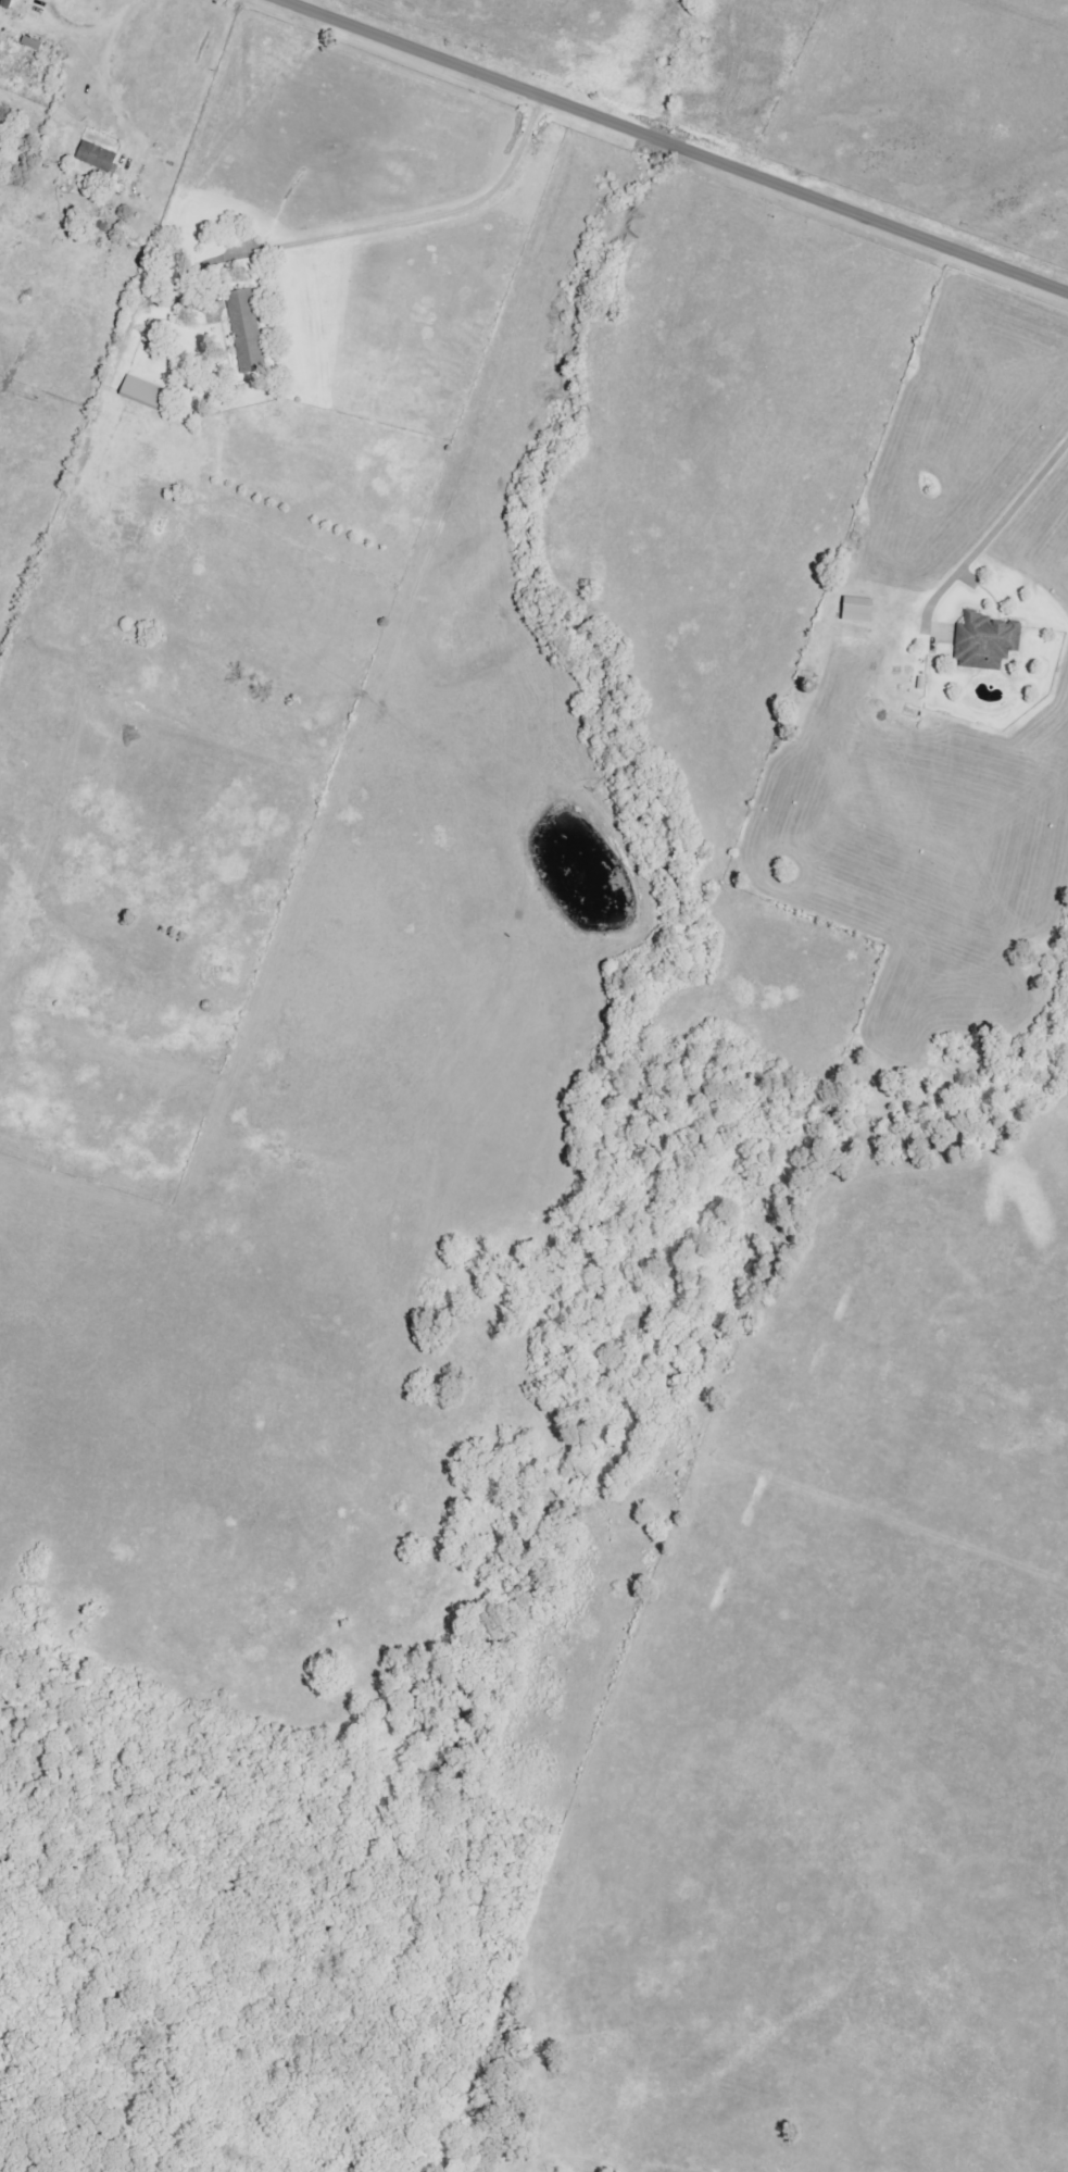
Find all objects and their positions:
building: (9, 4)
road: (76, 33)
road: (106, 78)
road: (659, 140)
building: (97, 158)
road: (366, 234)
building: (247, 333)
building: (143, 394)
road: (985, 544)
building: (858, 610)
building: (987, 642)

